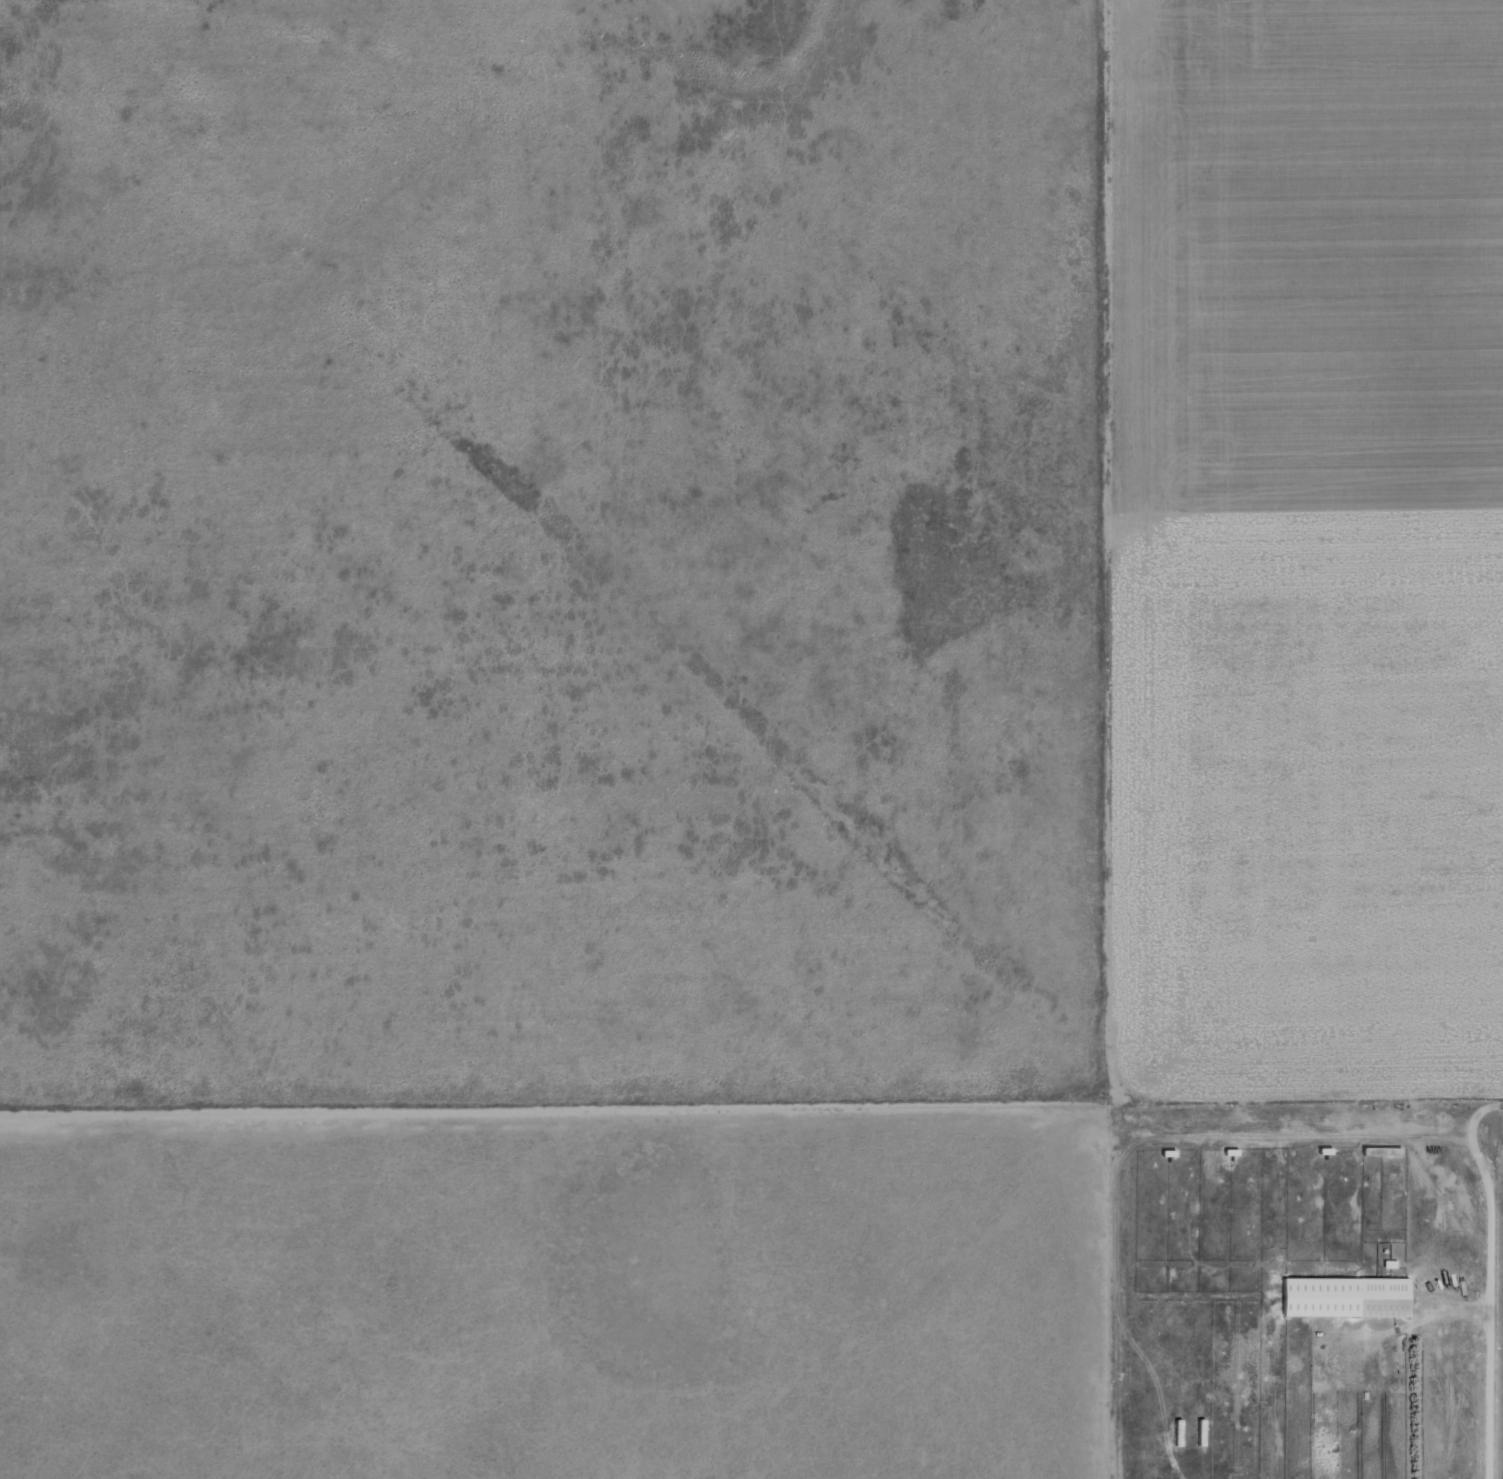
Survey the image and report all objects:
building: (1384, 1151)
building: (1349, 1297)
building: (1203, 1432)

